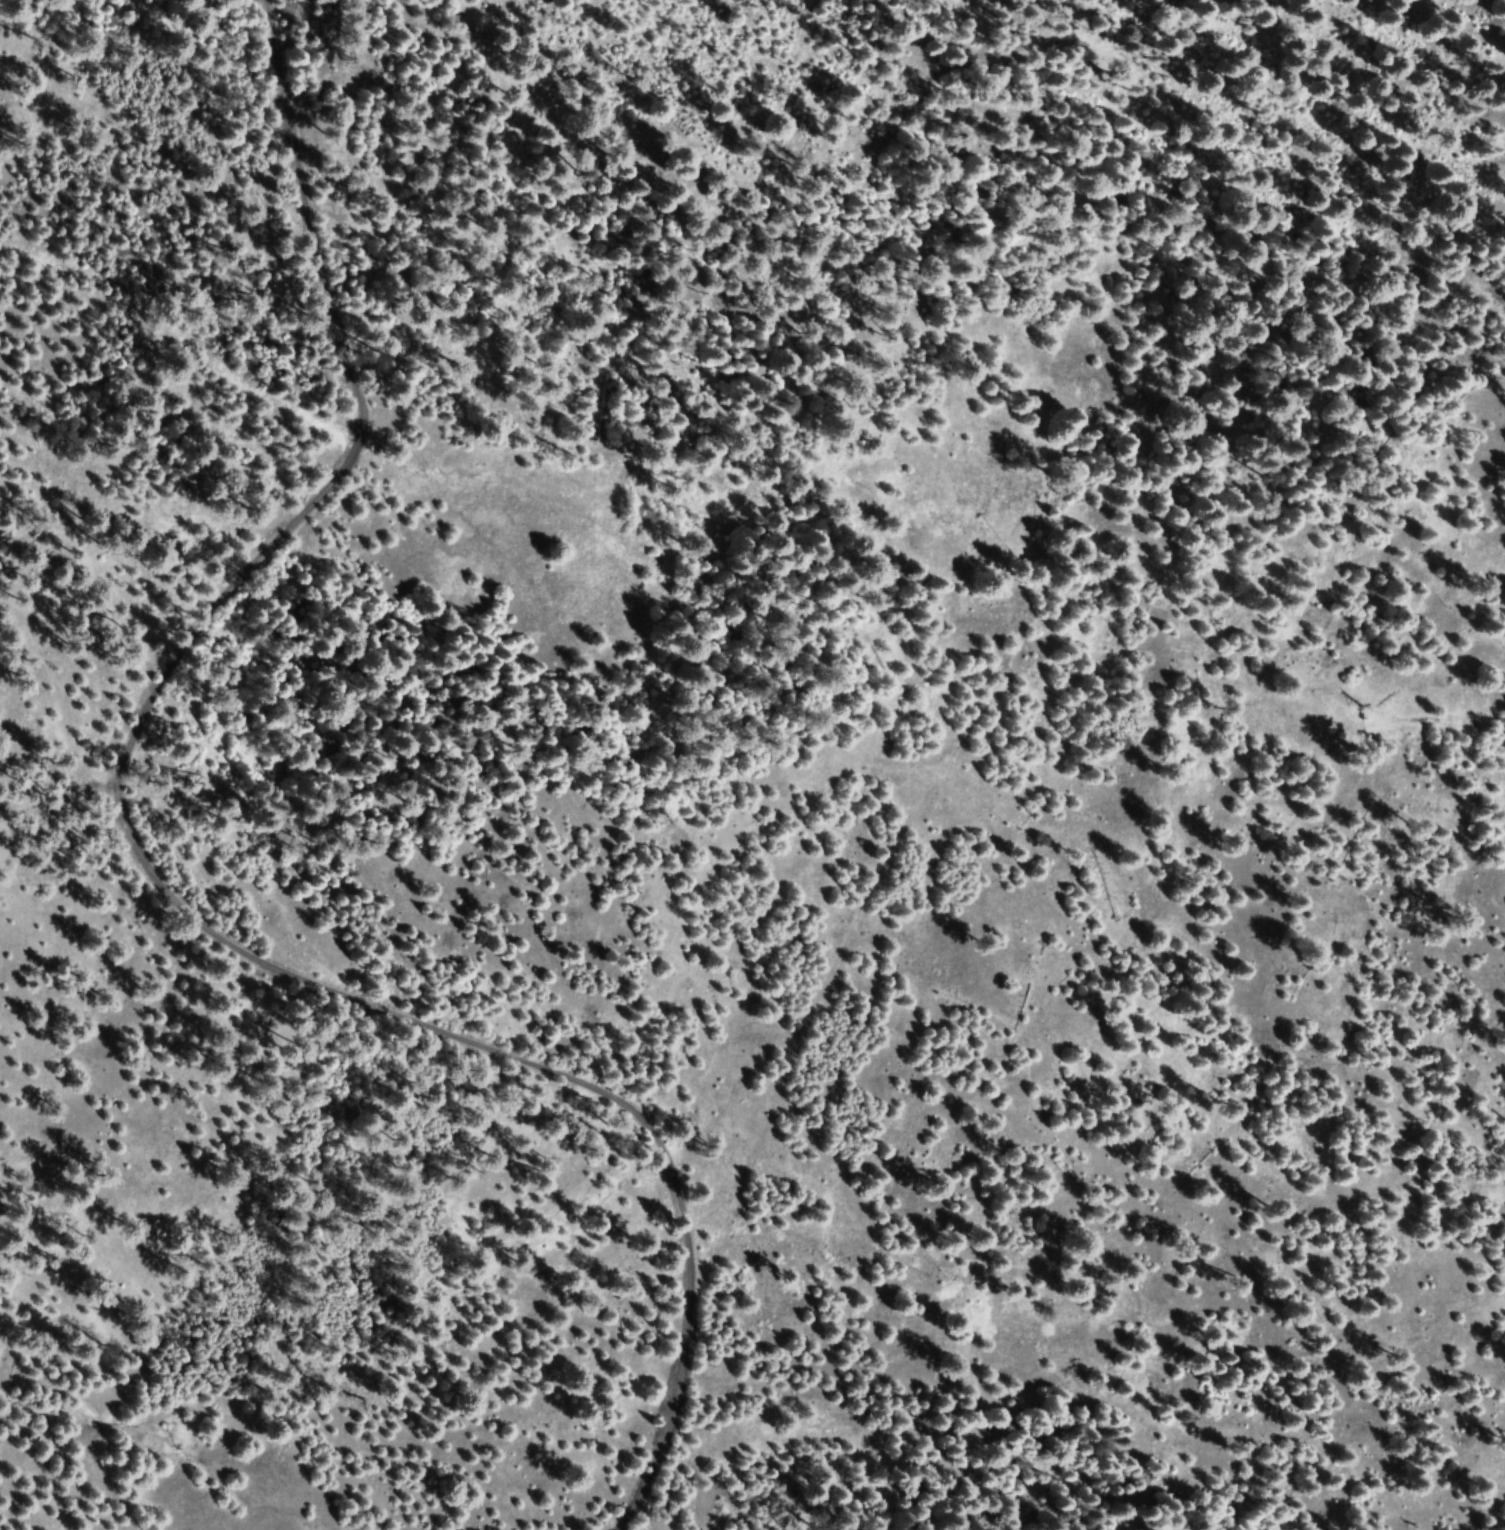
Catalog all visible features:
road: (130, 829)

